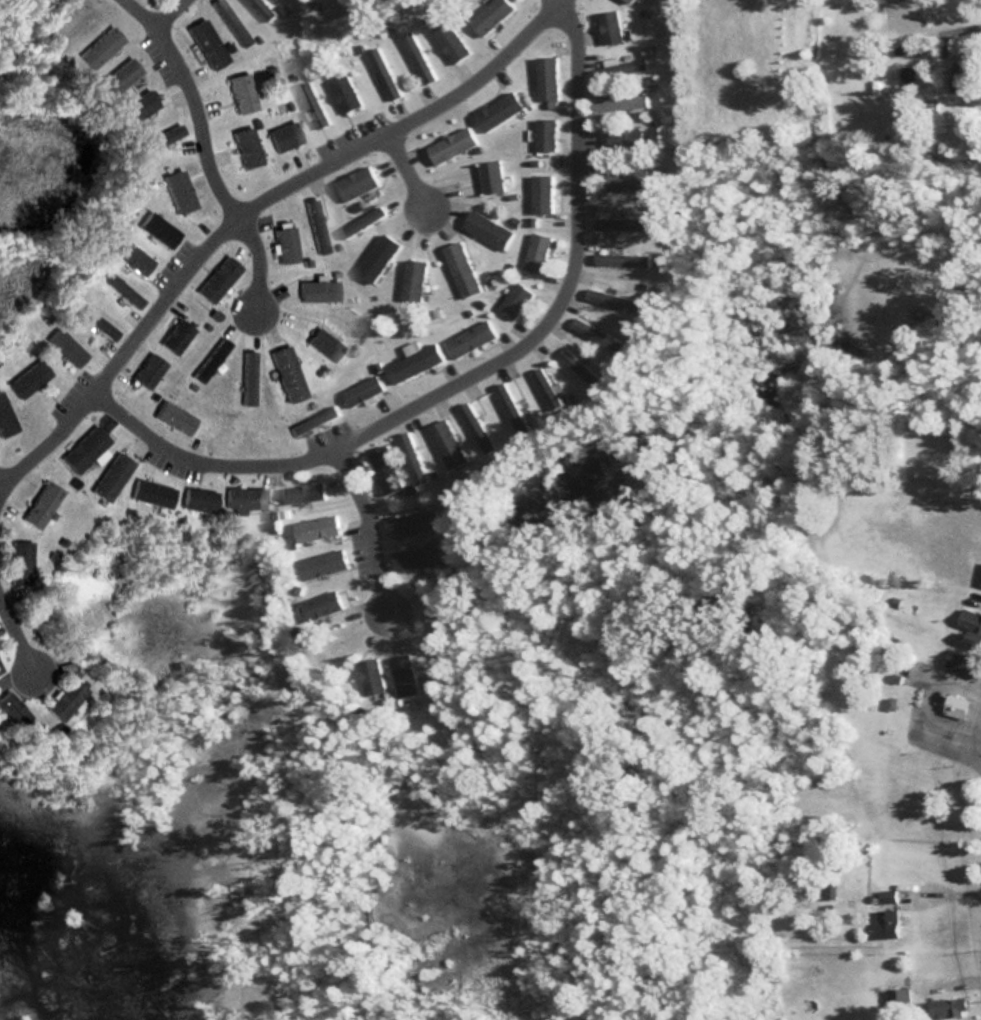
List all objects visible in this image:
building: (626, 0)
road: (555, 1)
building: (263, 7)
building: (902, 11)
road: (171, 14)
building: (488, 15)
building: (227, 21)
road: (955, 24)
building: (609, 26)
building: (448, 40)
building: (202, 42)
building: (416, 55)
building: (959, 68)
building: (381, 71)
building: (545, 77)
building: (343, 91)
building: (238, 92)
building: (311, 102)
building: (619, 102)
building: (134, 105)
building: (544, 133)
building: (280, 135)
building: (153, 139)
building: (624, 140)
building: (449, 144)
building: (242, 146)
road: (205, 147)
road: (407, 172)
building: (489, 175)
building: (626, 179)
building: (355, 181)
road: (248, 207)
building: (621, 223)
building: (312, 225)
building: (487, 229)
building: (281, 243)
building: (535, 252)
building: (128, 256)
building: (621, 259)
building: (460, 268)
building: (414, 278)
building: (611, 299)
building: (94, 323)
building: (589, 330)
building: (171, 335)
building: (469, 338)
building: (59, 343)
building: (414, 360)
building: (282, 373)
road: (472, 375)
building: (23, 379)
building: (543, 384)
building: (5, 418)
building: (475, 427)
building: (447, 444)
building: (80, 448)
building: (384, 469)
road: (2, 476)
building: (108, 476)
building: (149, 492)
building: (302, 492)
building: (240, 498)
building: (196, 500)
building: (37, 504)
building: (414, 523)
building: (315, 527)
road: (366, 530)
building: (415, 556)
building: (17, 563)
building: (320, 563)
building: (320, 604)
building: (970, 620)
road: (16, 637)
building: (960, 662)
building: (403, 671)
building: (370, 674)
building: (62, 699)
building: (953, 705)
building: (887, 913)
building: (947, 1008)

